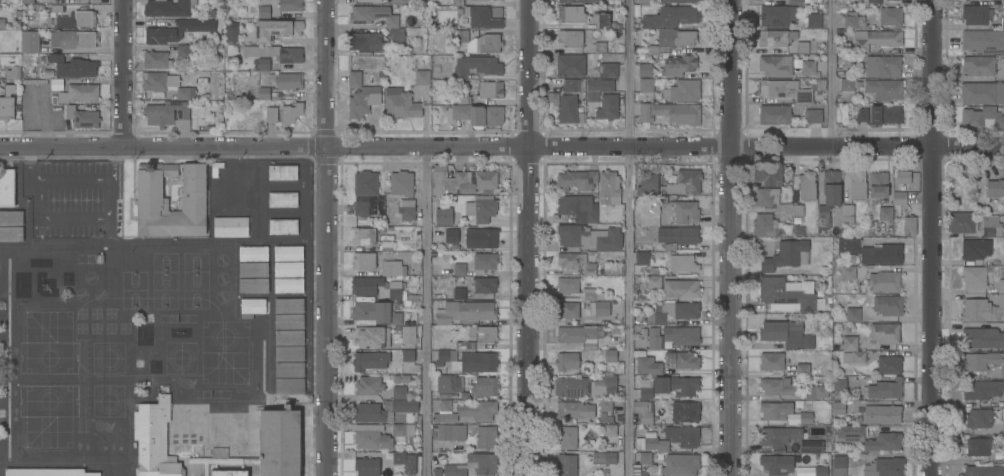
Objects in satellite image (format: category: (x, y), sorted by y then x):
building: (498, 0)
building: (578, 0)
building: (27, 1)
building: (400, 1)
building: (679, 1)
building: (457, 2)
building: (644, 2)
building: (798, 2)
building: (1002, 2)
building: (290, 5)
building: (167, 7)
building: (57, 8)
building: (264, 11)
building: (571, 13)
building: (975, 15)
building: (481, 16)
building: (777, 16)
building: (671, 17)
building: (811, 17)
building: (890, 17)
building: (852, 18)
building: (77, 19)
building: (602, 20)
building: (1002, 20)
building: (2, 23)
building: (187, 25)
building: (393, 25)
building: (276, 29)
building: (231, 31)
building: (154, 35)
building: (569, 38)
building: (776, 38)
building: (77, 39)
building: (876, 39)
building: (672, 40)
building: (480, 41)
building: (983, 41)
building: (31, 42)
building: (365, 42)
building: (600, 47)
building: (802, 47)
building: (183, 50)
building: (275, 52)
building: (156, 59)
building: (265, 63)
building: (11, 65)
building: (570, 65)
building: (73, 66)
building: (477, 66)
building: (678, 66)
building: (775, 66)
building: (883, 66)
building: (978, 66)
building: (808, 68)
building: (607, 70)
building: (644, 70)
building: (49, 73)
road: (126, 75)
road: (830, 75)
building: (422, 76)
building: (34, 81)
building: (289, 81)
building: (572, 84)
building: (165, 85)
building: (821, 85)
building: (646, 86)
building: (598, 87)
building: (848, 87)
building: (490, 89)
building: (884, 89)
building: (784, 90)
building: (682, 91)
building: (263, 93)
building: (982, 93)
building: (361, 95)
building: (463, 96)
building: (552, 98)
building: (7, 103)
building: (401, 105)
building: (608, 106)
building: (70, 107)
building: (568, 109)
building: (170, 113)
building: (670, 113)
building: (478, 114)
building: (775, 114)
building: (282, 115)
building: (862, 115)
building: (885, 115)
building: (812, 116)
building: (982, 119)
road: (502, 149)
road: (28, 165)
building: (282, 172)
building: (233, 173)
building: (769, 174)
building: (902, 177)
road: (73, 179)
building: (577, 179)
building: (461, 180)
building: (401, 182)
building: (365, 183)
building: (648, 184)
building: (683, 184)
building: (609, 185)
building: (878, 185)
building: (806, 186)
building: (855, 186)
building: (7, 187)
building: (995, 188)
parking lot: (71, 196)
building: (152, 198)
building: (282, 199)
building: (899, 199)
building: (233, 200)
building: (775, 202)
building: (828, 202)
building: (361, 207)
building: (578, 207)
building: (481, 208)
building: (407, 209)
building: (684, 213)
building: (885, 214)
building: (443, 215)
building: (847, 215)
building: (11, 217)
road: (90, 217)
building: (962, 223)
building: (230, 226)
building: (282, 226)
building: (765, 226)
building: (909, 226)
building: (992, 232)
building: (11, 233)
building: (451, 235)
building: (363, 236)
building: (589, 236)
building: (678, 236)
road: (328, 237)
road: (530, 237)
road: (626, 237)
building: (483, 238)
road: (729, 238)
road: (930, 238)
building: (387, 245)
building: (975, 249)
building: (253, 252)
building: (288, 252)
building: (871, 252)
building: (787, 256)
building: (642, 258)
building: (997, 258)
building: (485, 260)
building: (364, 261)
building: (576, 262)
building: (682, 265)
building: (288, 268)
building: (253, 269)
building: (393, 269)
building: (459, 269)
building: (848, 273)
building: (974, 277)
building: (651, 279)
building: (884, 281)
building: (288, 284)
building: (485, 284)
building: (567, 284)
building: (253, 285)
building: (367, 287)
building: (1001, 287)
building: (680, 289)
building: (394, 291)
building: (459, 293)
building: (592, 294)
building: (786, 296)
building: (289, 304)
building: (888, 305)
building: (253, 306)
building: (599, 307)
building: (569, 309)
building: (982, 310)
building: (465, 311)
road: (423, 312)
building: (675, 313)
building: (375, 314)
building: (852, 315)
building: (289, 320)
building: (576, 333)
building: (885, 333)
building: (408, 334)
building: (486, 334)
building: (786, 335)
building: (372, 336)
building: (681, 336)
building: (289, 337)
building: (654, 339)
building: (983, 339)
building: (850, 343)
building: (466, 345)
building: (289, 353)
building: (408, 355)
building: (610, 355)
building: (853, 357)
building: (369, 360)
building: (566, 360)
building: (682, 360)
building: (468, 361)
building: (771, 362)
building: (982, 362)
building: (647, 364)
building: (889, 365)
building: (289, 369)
building: (802, 370)
building: (445, 382)
building: (289, 385)
building: (368, 385)
building: (585, 385)
building: (840, 385)
building: (484, 386)
building: (669, 387)
building: (777, 387)
building: (884, 389)
building: (983, 390)
building: (399, 392)
building: (816, 393)
building: (1003, 401)
building: (605, 404)
building: (838, 408)
building: (575, 409)
building: (385, 410)
building: (464, 411)
building: (643, 411)
building: (775, 411)
building: (685, 412)
building: (882, 415)
building: (805, 418)
building: (978, 419)
building: (610, 429)
building: (402, 430)
building: (998, 430)
building: (451, 432)
building: (851, 432)
building: (486, 436)
building: (682, 436)
building: (155, 437)
building: (566, 437)
building: (778, 437)
building: (372, 439)
building: (884, 442)
building: (650, 443)
building: (270, 445)
building: (978, 447)
building: (811, 448)
building: (1003, 456)
building: (399, 457)
building: (604, 457)
building: (645, 458)
building: (567, 464)
building: (473, 465)
building: (680, 465)
building: (777, 465)
building: (366, 466)
building: (839, 466)
building: (884, 467)
building: (604, 471)
building: (638, 471)
building: (820, 471)
building: (984, 471)
building: (48, 472)
building: (228, 472)

